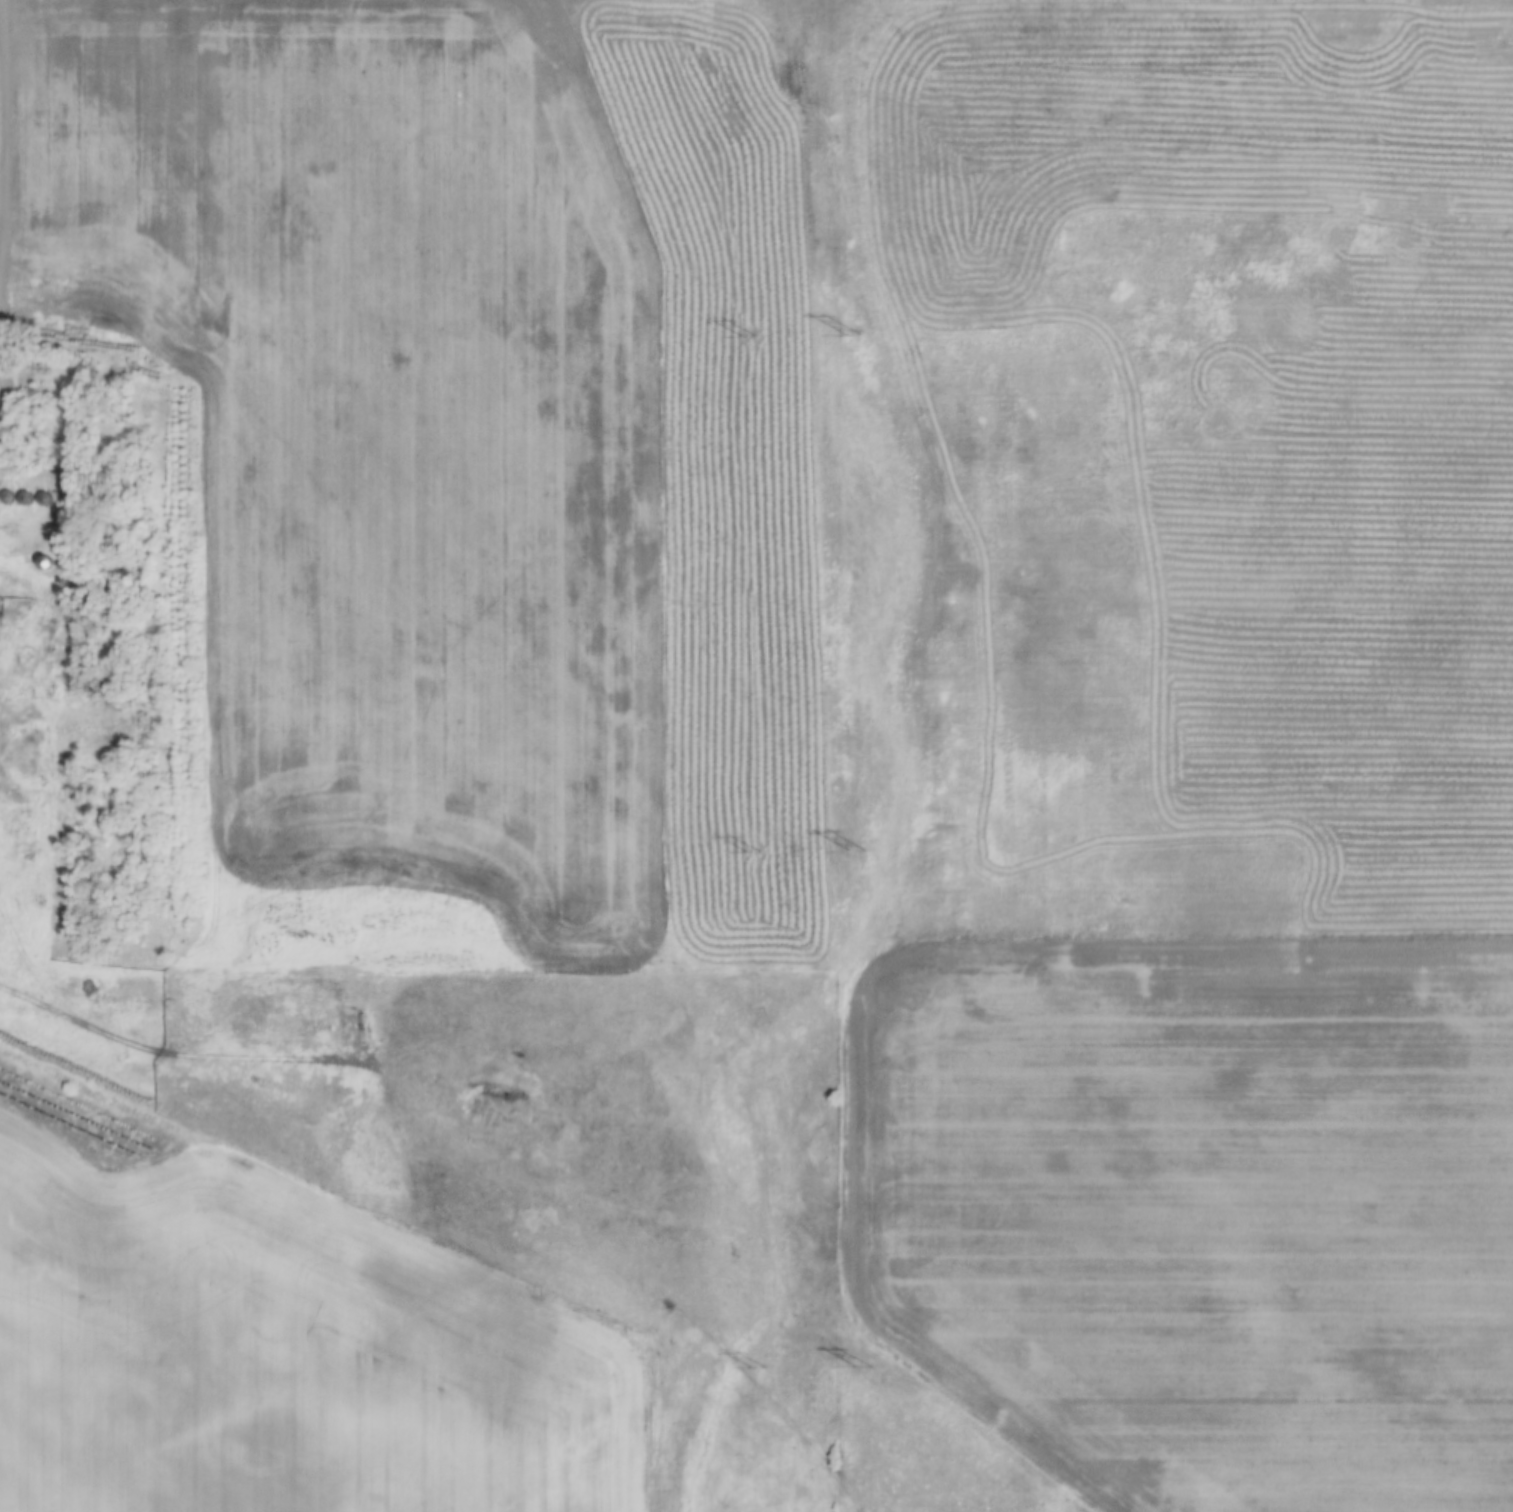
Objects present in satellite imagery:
road: (4, 172)
power tower: (853, 333)
power tower: (745, 335)
building: (8, 497)
building: (24, 498)
building: (44, 499)
power tower: (856, 850)
power tower: (751, 852)
building: (216, 1013)
power tower: (861, 1365)
power tower: (755, 1368)

